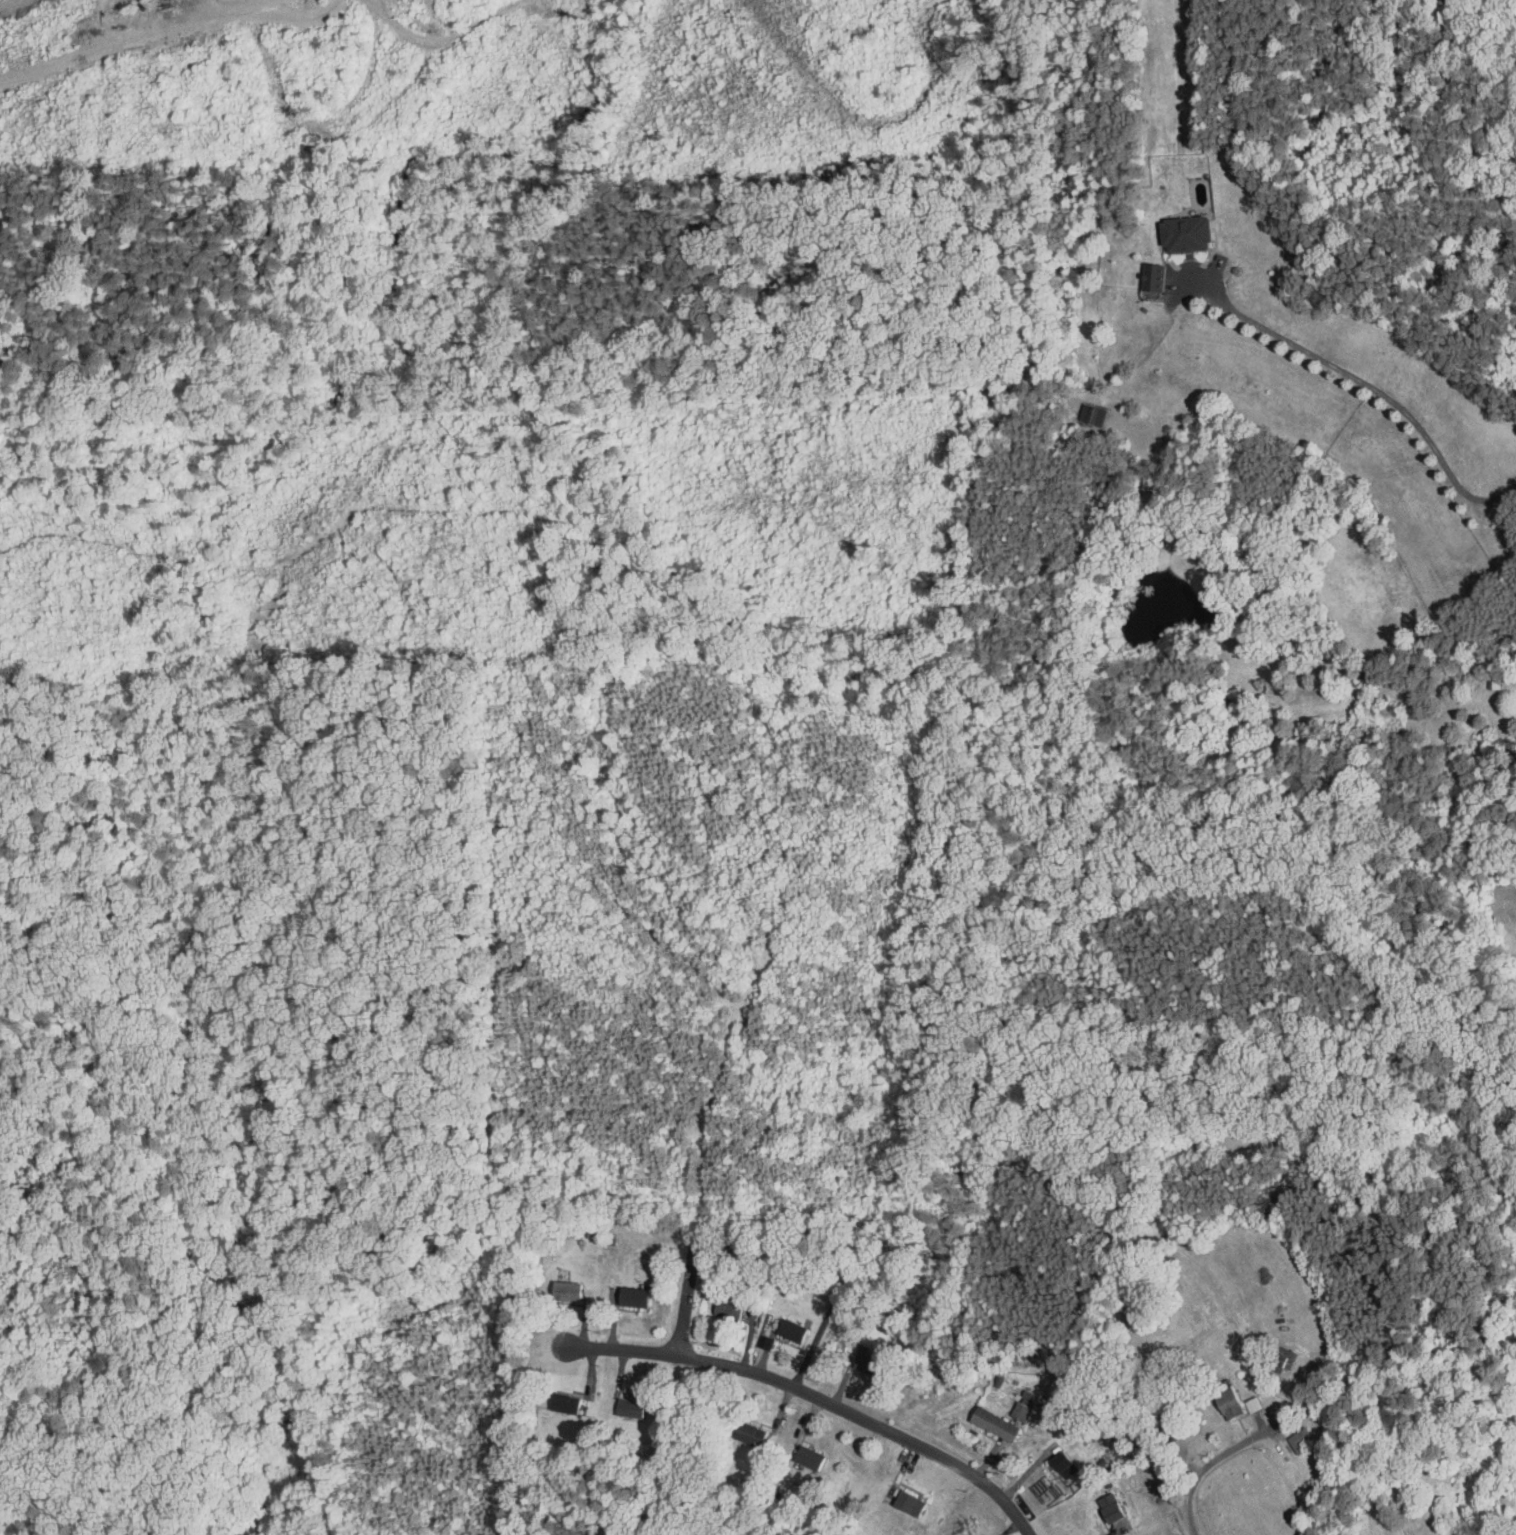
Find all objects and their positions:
building: (1169, 228)
road: (1380, 392)
building: (1512, 925)
building: (551, 1285)
building: (617, 1292)
road: (684, 1304)
building: (711, 1304)
building: (777, 1325)
building: (750, 1336)
road: (813, 1347)
building: (849, 1353)
building: (1266, 1353)
building: (1213, 1397)
building: (550, 1398)
road: (819, 1398)
building: (615, 1403)
building: (1009, 1403)
building: (979, 1418)
building: (736, 1429)
building: (1287, 1435)
building: (794, 1453)
building: (1048, 1460)
road: (1204, 1473)
building: (894, 1499)
building: (1095, 1503)
road: (1122, 1530)

